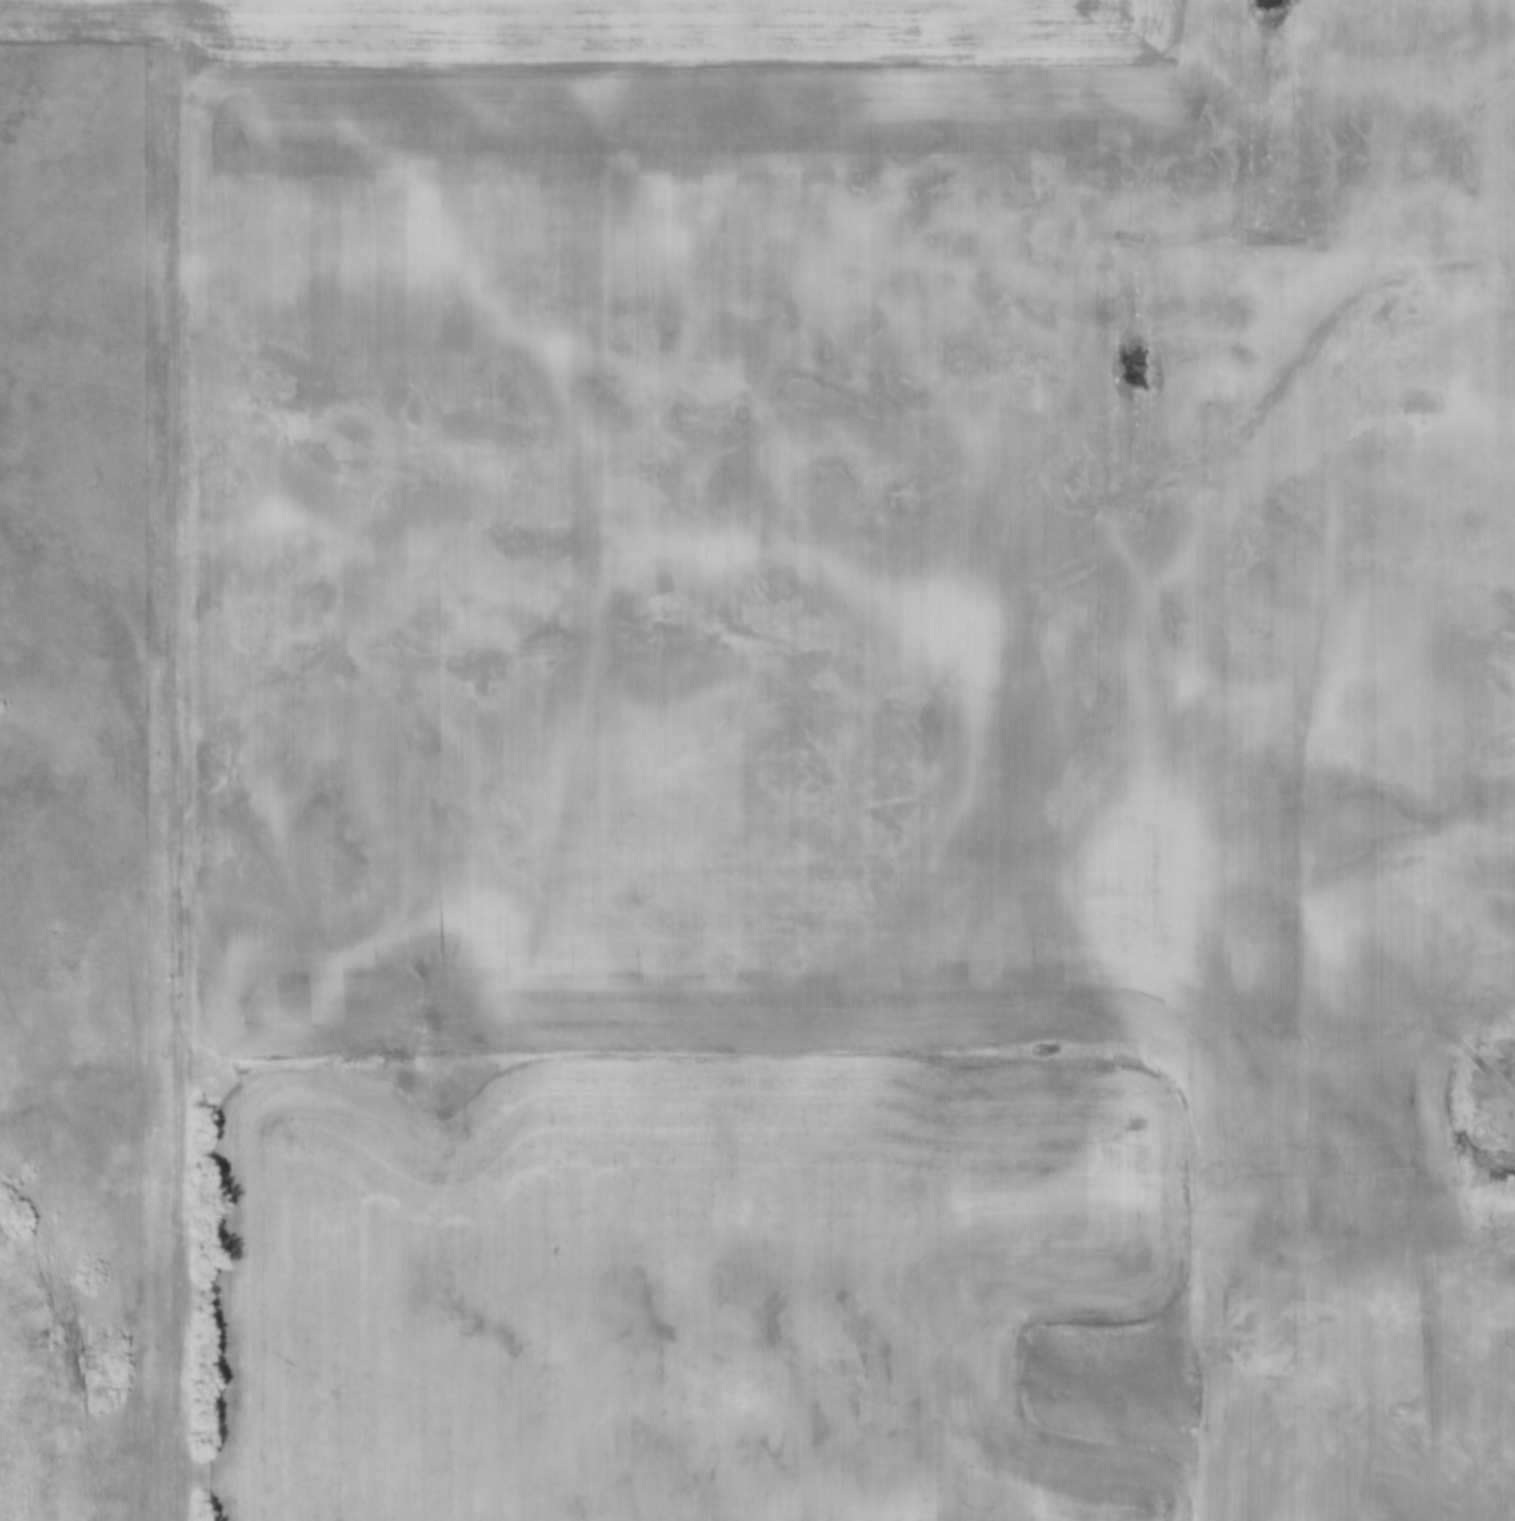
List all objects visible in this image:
road: (554, 54)
road: (1229, 741)
road: (175, 782)

